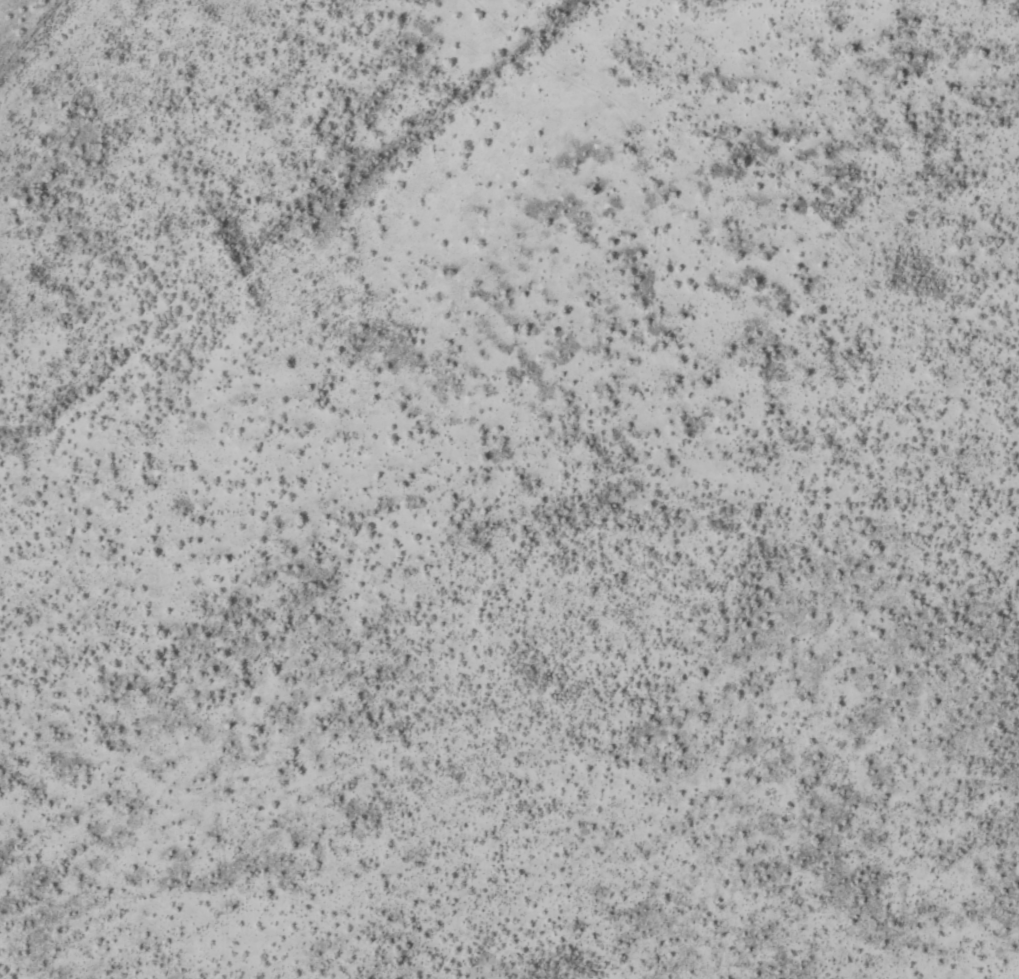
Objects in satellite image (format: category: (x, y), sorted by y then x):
road: (0, 977)

